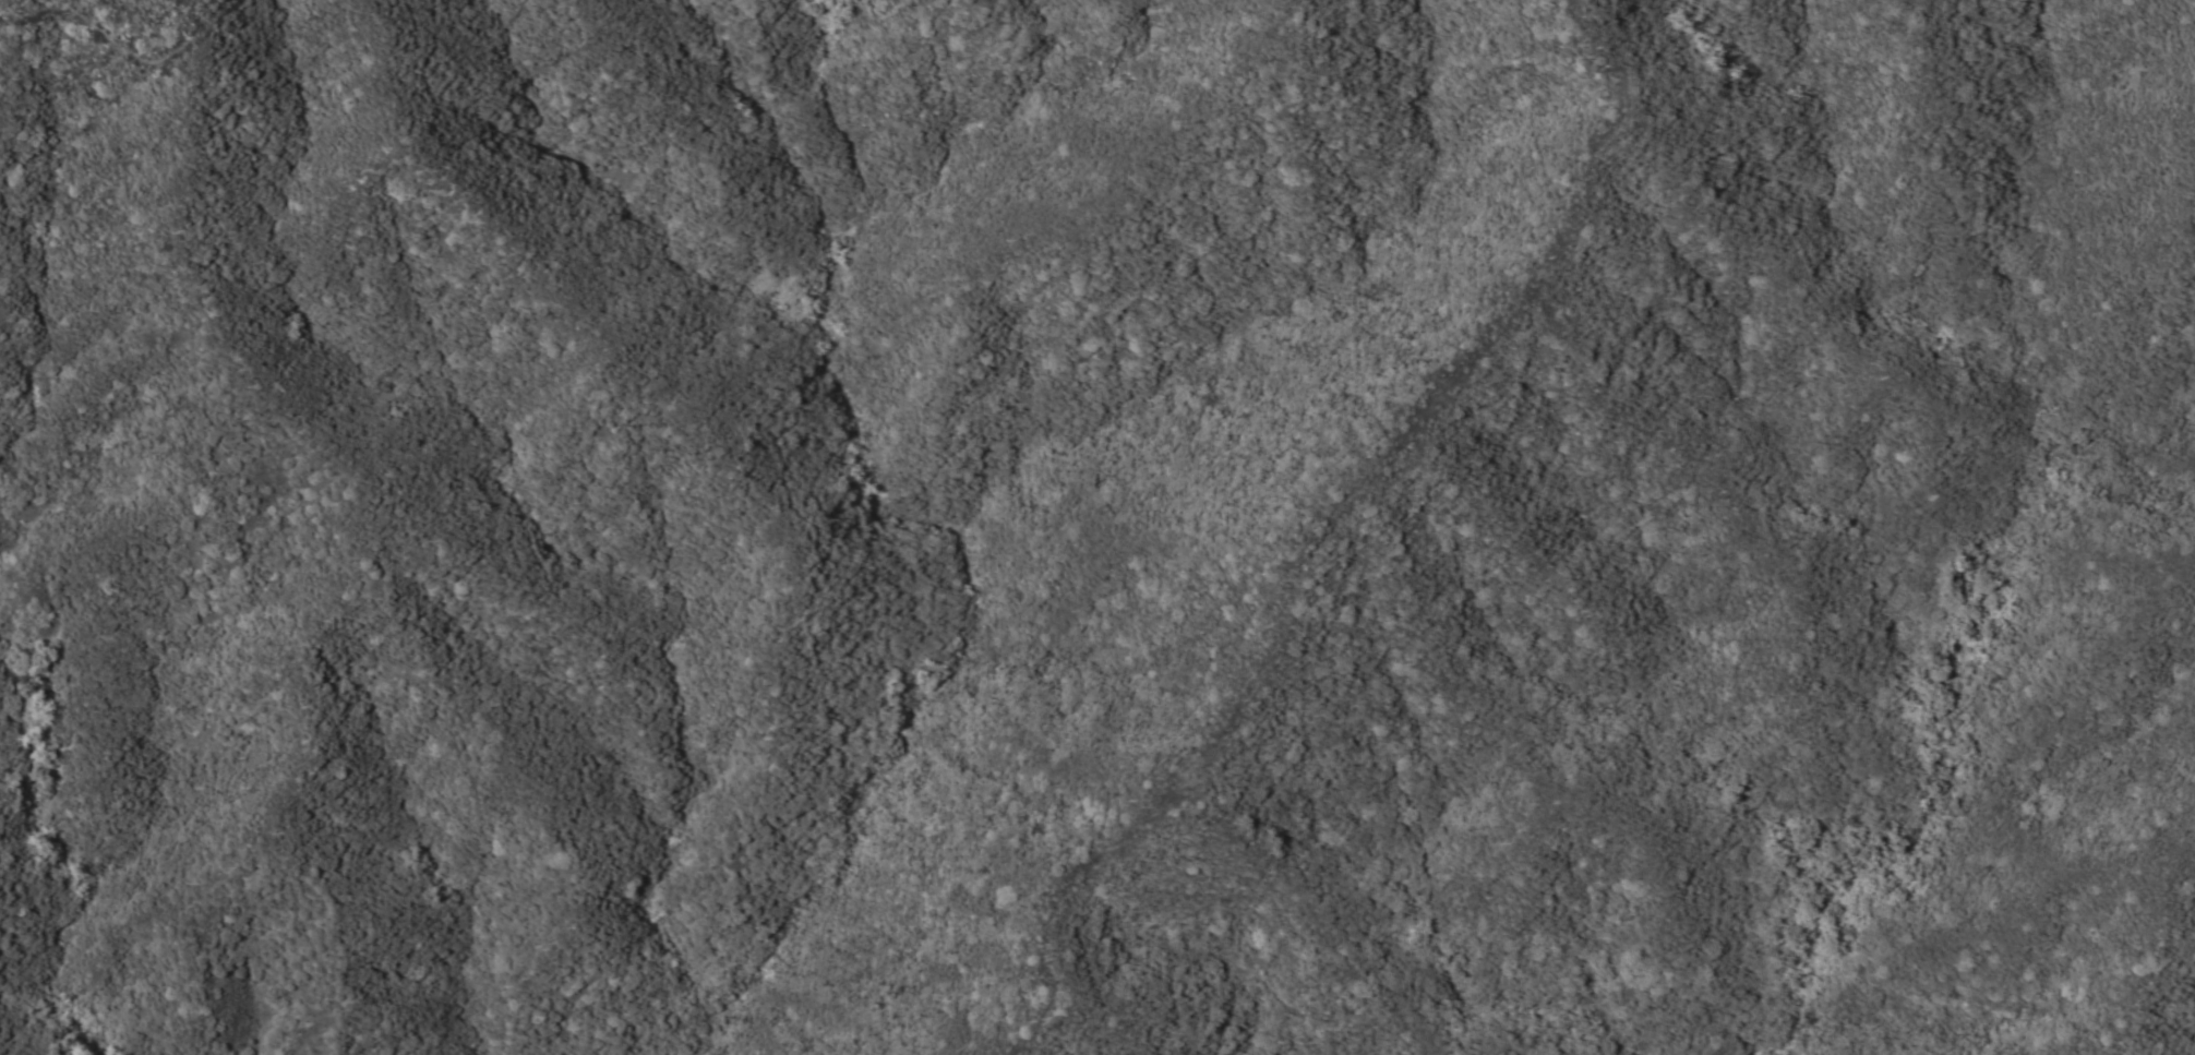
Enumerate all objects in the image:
road: (544, 615)

